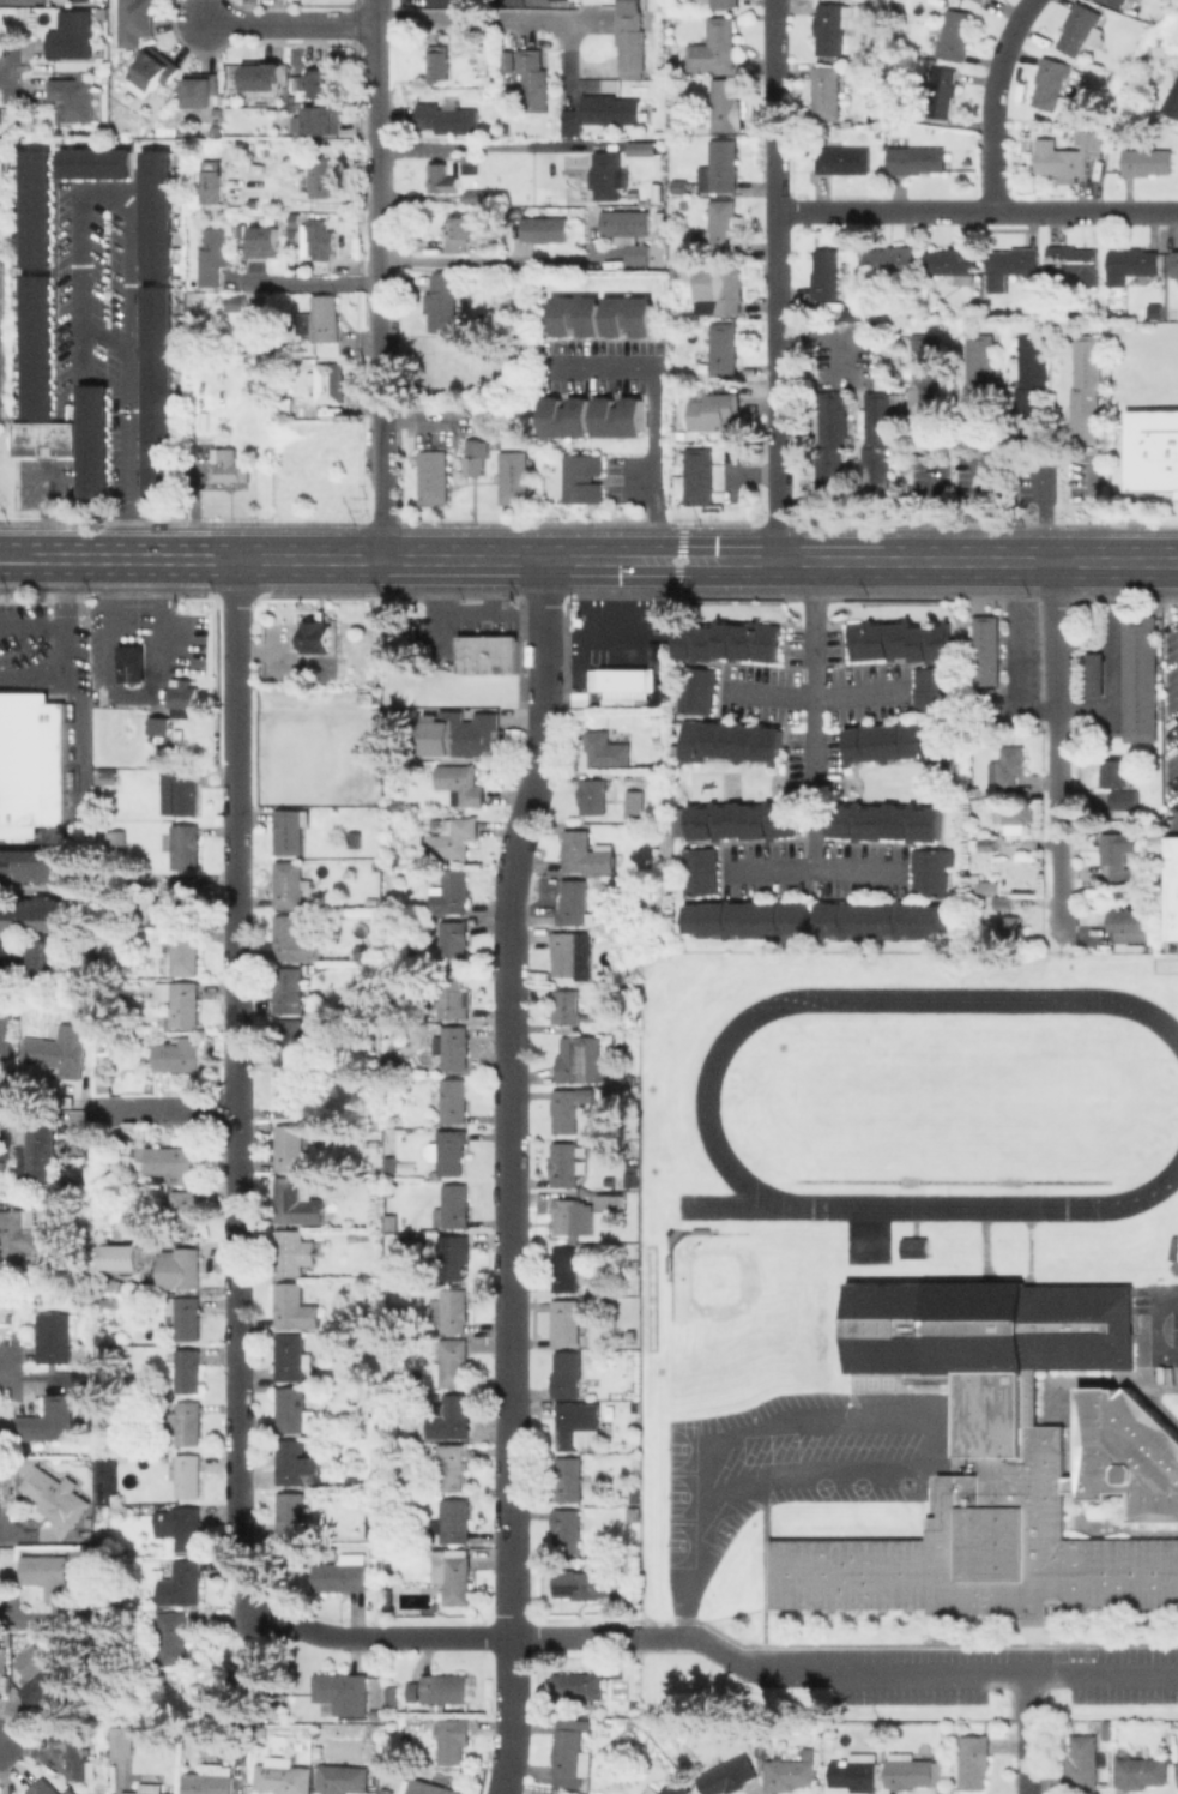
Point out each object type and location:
building: (980, 0)
building: (1114, 1)
building: (718, 2)
building: (626, 5)
road: (467, 16)
building: (137, 22)
road: (288, 22)
building: (829, 28)
building: (1081, 28)
building: (954, 34)
building: (73, 36)
building: (1159, 37)
building: (467, 40)
building: (630, 43)
building: (713, 44)
building: (1149, 49)
building: (509, 59)
building: (439, 61)
road: (5, 71)
building: (155, 73)
building: (264, 77)
building: (532, 78)
building: (1050, 80)
building: (315, 83)
building: (203, 90)
building: (941, 90)
building: (827, 92)
road: (995, 100)
building: (1172, 100)
building: (77, 101)
building: (725, 104)
building: (900, 107)
building: (611, 108)
building: (447, 116)
building: (322, 119)
building: (1091, 138)
road: (463, 146)
building: (641, 146)
building: (1057, 155)
building: (842, 158)
building: (916, 158)
building: (1146, 159)
building: (97, 161)
building: (470, 163)
building: (719, 167)
building: (605, 173)
building: (320, 176)
building: (211, 179)
building: (441, 179)
building: (1, 182)
road: (92, 191)
building: (477, 195)
road: (377, 200)
building: (254, 203)
building: (37, 206)
road: (975, 210)
building: (158, 211)
building: (294, 217)
building: (465, 227)
building: (719, 227)
building: (545, 230)
building: (630, 233)
building: (295, 235)
building: (264, 239)
building: (320, 240)
building: (212, 254)
road: (484, 258)
building: (892, 259)
building: (950, 260)
building: (1014, 260)
building: (1073, 263)
building: (1174, 263)
building: (1130, 264)
building: (826, 273)
building: (191, 279)
road: (774, 279)
road: (318, 282)
building: (721, 291)
building: (1171, 296)
building: (237, 303)
building: (443, 307)
building: (575, 314)
building: (627, 314)
building: (320, 319)
road: (821, 341)
building: (38, 344)
building: (723, 348)
building: (328, 383)
building: (924, 384)
building: (977, 385)
building: (1029, 385)
building: (1083, 389)
building: (158, 391)
building: (714, 410)
building: (563, 415)
building: (615, 416)
building: (44, 435)
building: (95, 439)
building: (829, 444)
building: (876, 444)
building: (1152, 450)
road: (127, 454)
building: (473, 456)
road: (657, 462)
building: (228, 465)
building: (434, 475)
building: (697, 475)
building: (511, 476)
building: (579, 478)
road: (382, 481)
road: (926, 506)
road: (1049, 507)
road: (1105, 507)
road: (977, 508)
road: (682, 544)
road: (20, 559)
road: (350, 559)
road: (681, 559)
road: (941, 562)
road: (682, 574)
road: (1008, 579)
road: (36, 627)
road: (543, 634)
building: (318, 636)
building: (896, 640)
building: (726, 642)
building: (986, 649)
road: (1009, 650)
building: (489, 654)
road: (72, 657)
building: (128, 663)
building: (1094, 674)
building: (626, 678)
building: (1140, 678)
building: (929, 688)
building: (695, 690)
building: (584, 697)
building: (180, 698)
road: (818, 698)
road: (1035, 710)
road: (817, 715)
building: (156, 724)
building: (465, 733)
building: (727, 741)
building: (894, 742)
road: (1057, 742)
building: (606, 749)
building: (32, 759)
building: (1010, 765)
building: (1113, 772)
building: (104, 777)
building: (461, 783)
building: (991, 788)
building: (183, 793)
building: (593, 796)
building: (1124, 799)
building: (635, 803)
building: (1015, 817)
building: (739, 820)
building: (884, 821)
building: (290, 831)
building: (119, 837)
building: (453, 838)
building: (355, 839)
building: (984, 842)
building: (182, 845)
building: (586, 853)
building: (1117, 855)
building: (35, 865)
building: (696, 869)
road: (818, 869)
building: (928, 871)
building: (289, 885)
building: (987, 886)
building: (1173, 887)
building: (449, 892)
building: (1126, 892)
building: (371, 899)
building: (181, 901)
building: (574, 902)
building: (1003, 902)
building: (36, 915)
building: (745, 919)
building: (1131, 919)
building: (878, 920)
building: (1011, 928)
building: (292, 940)
building: (454, 941)
building: (41, 949)
building: (360, 950)
building: (186, 952)
building: (572, 953)
building: (109, 955)
building: (289, 989)
building: (452, 997)
track: (847, 999)
building: (181, 1000)
building: (567, 1006)
building: (6, 1034)
building: (289, 1042)
building: (394, 1043)
building: (452, 1047)
building: (59, 1048)
building: (179, 1055)
building: (580, 1059)
building: (626, 1078)
road: (234, 1084)
building: (104, 1085)
building: (291, 1096)
building: (453, 1100)
road: (169, 1107)
building: (566, 1110)
building: (373, 1145)
building: (292, 1149)
building: (37, 1150)
building: (451, 1150)
building: (175, 1161)
building: (564, 1164)
building: (297, 1200)
building: (603, 1202)
track: (989, 1203)
road: (6, 1205)
track: (735, 1205)
building: (453, 1206)
building: (182, 1210)
building: (572, 1216)
building: (60, 1220)
building: (119, 1232)
building: (358, 1236)
building: (17, 1238)
building: (401, 1238)
building: (913, 1247)
road: (509, 1250)
building: (294, 1252)
building: (448, 1253)
building: (120, 1254)
building: (176, 1268)
building: (566, 1269)
building: (376, 1270)
building: (108, 1283)
building: (108, 1301)
building: (292, 1306)
building: (451, 1310)
building: (186, 1316)
building: (569, 1320)
building: (109, 1335)
building: (628, 1335)
building: (54, 1338)
building: (292, 1357)
building: (454, 1361)
road: (5, 1363)
building: (186, 1371)
building: (567, 1374)
building: (314, 1392)
building: (391, 1398)
building: (294, 1410)
building: (451, 1417)
building: (187, 1422)
building: (47, 1423)
building: (578, 1423)
building: (318, 1444)
building: (1126, 1451)
building: (986, 1457)
building: (297, 1464)
building: (451, 1465)
parking lot: (789, 1465)
building: (188, 1475)
building: (569, 1479)
building: (56, 1498)
building: (291, 1515)
building: (635, 1515)
building: (455, 1521)
building: (373, 1524)
building: (181, 1525)
building: (567, 1530)
road: (16, 1535)
road: (696, 1541)
building: (375, 1549)
building: (49, 1573)
building: (342, 1573)
building: (453, 1573)
building: (580, 1582)
building: (181, 1583)
building: (116, 1595)
road: (16, 1619)
building: (107, 1621)
building: (170, 1636)
road: (471, 1636)
building: (2, 1658)
building: (30, 1661)
road: (926, 1672)
parking lot: (967, 1673)
building: (258, 1682)
building: (443, 1687)
building: (579, 1687)
building: (54, 1691)
building: (342, 1691)
building: (393, 1697)
road: (1028, 1733)
building: (373, 1735)
building: (123, 1740)
building: (453, 1740)
building: (68, 1750)
building: (572, 1754)
building: (974, 1762)
building: (1082, 1764)
building: (906, 1771)
building: (1140, 1771)
building: (790, 1772)
building: (856, 1772)
building: (1176, 1772)
building: (727, 1776)
building: (285, 1778)
building: (343, 1778)
building: (209, 1781)
building: (429, 1787)
building: (43, 1788)
building: (149, 1788)
building: (669, 1788)
building: (70, 1792)

